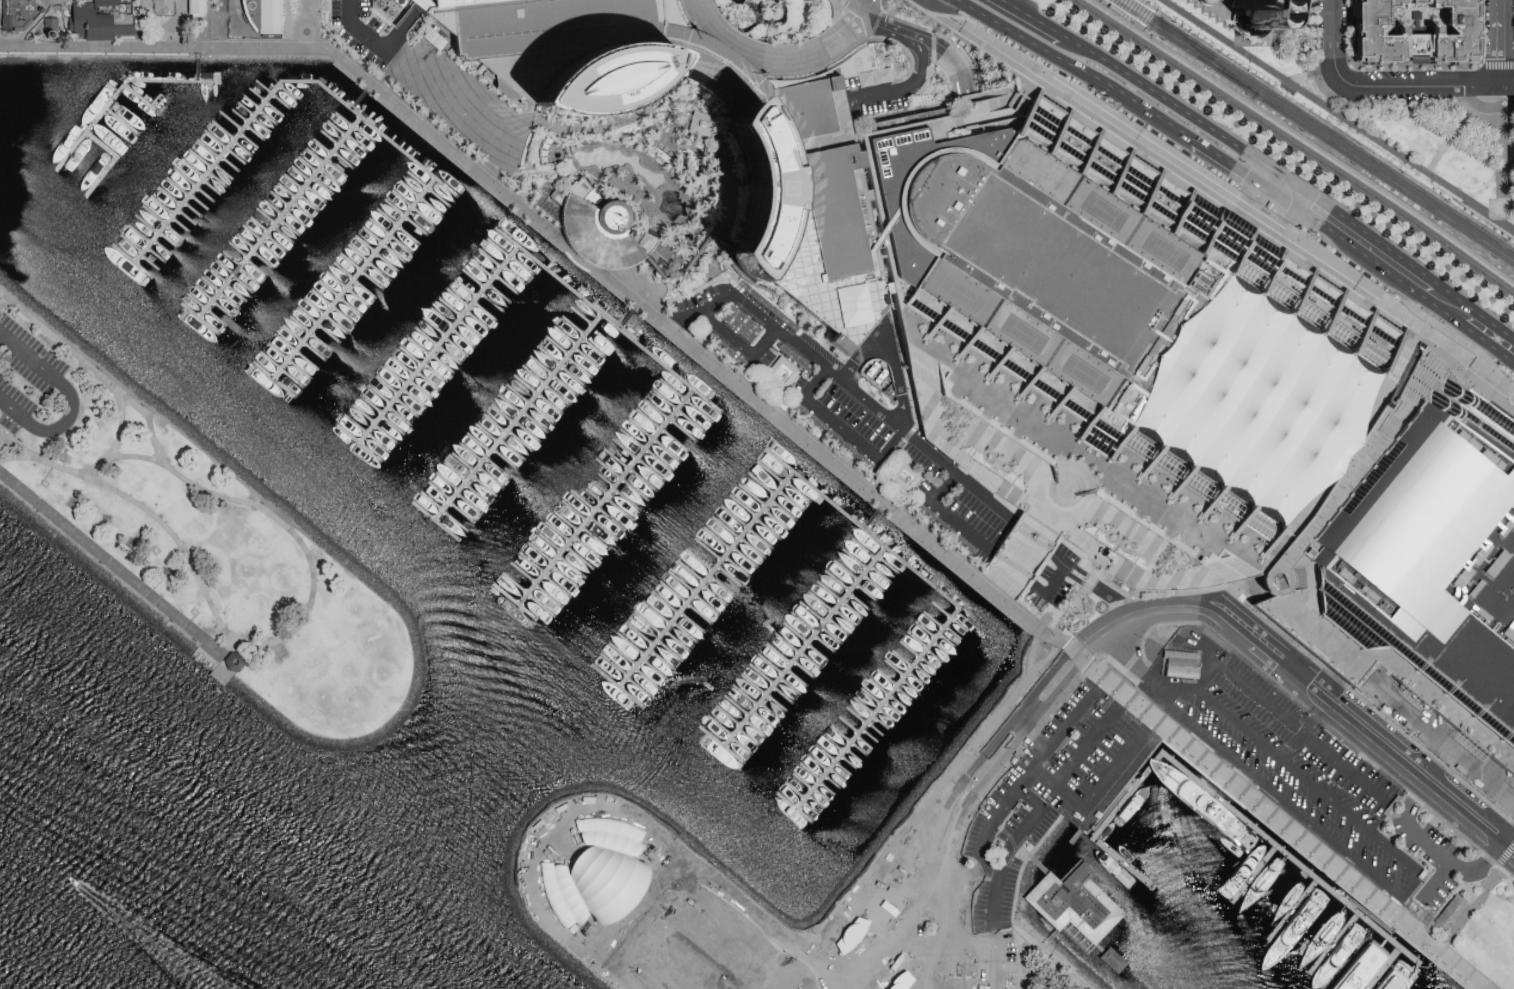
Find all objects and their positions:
road: (857, 1)
road: (859, 1)
road: (1002, 1)
building: (429, 2)
building: (459, 2)
railway: (1146, 4)
road: (65, 5)
building: (161, 7)
building: (198, 8)
road: (940, 9)
road: (1019, 11)
road: (1495, 11)
road: (868, 13)
railway: (1121, 13)
building: (1247, 13)
building: (20, 15)
building: (263, 16)
road: (686, 16)
road: (1216, 20)
building: (105, 22)
road: (41, 23)
road: (209, 24)
road: (313, 24)
road: (932, 26)
road: (360, 27)
road: (401, 27)
building: (51, 28)
road: (67, 28)
road: (888, 28)
road: (1048, 28)
parking lot: (364, 33)
building: (1413, 34)
road: (1017, 37)
road: (961, 40)
road: (179, 43)
road: (1332, 43)
road: (1077, 45)
road: (852, 46)
road: (928, 46)
road: (93, 49)
road: (932, 49)
road: (1496, 55)
road: (778, 56)
railway: (1206, 56)
road: (723, 58)
road: (721, 60)
road: (798, 67)
pier: (197, 71)
road: (1309, 77)
road: (967, 78)
road: (954, 81)
road: (1018, 85)
road: (911, 86)
road: (946, 86)
road: (921, 89)
road: (1416, 89)
road: (1505, 89)
road: (1029, 91)
pier: (120, 94)
road: (1011, 95)
pier: (141, 98)
pier: (359, 100)
road: (1139, 107)
road: (1487, 110)
road: (983, 112)
road: (1182, 112)
road: (649, 116)
road: (1336, 117)
road: (988, 118)
road: (617, 121)
road: (857, 122)
building: (700, 124)
railway: (1320, 126)
road: (655, 127)
park: (1395, 127)
pier: (379, 129)
railway: (1312, 131)
road: (1449, 133)
road: (1301, 139)
road: (666, 140)
railway: (1294, 143)
road: (683, 147)
road: (708, 151)
road: (1438, 155)
pier: (221, 158)
pier: (110, 162)
road: (1501, 165)
road: (1227, 166)
park: (1035, 170)
traffic signals: (1272, 172)
road: (490, 174)
building: (803, 182)
road: (1285, 182)
road: (1262, 185)
traffic signals: (1261, 188)
traffic signals: (1299, 192)
helipad: (769, 193)
road: (1275, 197)
road: (1234, 199)
road: (1294, 199)
road: (872, 202)
traffic signals: (1290, 207)
park: (1095, 212)
road: (1286, 213)
pier: (282, 217)
road: (718, 229)
building: (605, 234)
road: (1367, 239)
road: (1270, 243)
park: (1155, 252)
road: (1364, 257)
road: (690, 259)
pier: (358, 279)
park: (953, 294)
road: (1449, 296)
road: (899, 305)
road: (639, 308)
pier: (610, 318)
road: (1449, 318)
pier: (626, 319)
road: (679, 320)
road: (1489, 324)
road: (1440, 329)
park: (1016, 334)
road: (1412, 340)
pier: (443, 344)
road: (1487, 345)
road: (736, 346)
road: (918, 349)
road: (864, 350)
road: (1423, 352)
road: (1441, 359)
building: (782, 373)
park: (1076, 374)
road: (895, 375)
parking lot: (24, 376)
road: (857, 396)
road: (1512, 401)
road: (69, 403)
road: (1508, 406)
road: (1396, 411)
pier: (523, 417)
road: (1374, 417)
building: (1204, 419)
road: (936, 423)
road: (120, 424)
road: (841, 430)
road: (998, 456)
road: (1335, 457)
road: (118, 458)
road: (20, 460)
road: (1083, 460)
road: (985, 477)
building: (904, 478)
road: (1065, 489)
pier: (610, 498)
road: (1326, 502)
road: (1053, 507)
road: (1166, 509)
road: (1045, 516)
road: (949, 517)
road: (1046, 519)
pier: (869, 520)
road: (1120, 534)
road: (1035, 539)
road: (1032, 540)
park: (192, 541)
pier: (878, 541)
road: (1115, 542)
road: (1273, 550)
road: (1108, 553)
road: (1108, 554)
road: (1107, 555)
road: (1058, 559)
road: (1278, 563)
road: (1099, 564)
road: (1015, 567)
road: (1269, 568)
road: (1096, 569)
road: (116, 570)
road: (1013, 571)
road: (1280, 571)
road: (1082, 573)
road: (1302, 575)
road: (1173, 578)
pier: (711, 579)
road: (1077, 580)
road: (1088, 581)
road: (311, 582)
road: (1050, 590)
road: (1239, 591)
road: (999, 592)
road: (1111, 597)
road: (1120, 602)
road: (1141, 605)
road: (1064, 611)
road: (1143, 623)
road: (214, 637)
pier: (808, 647)
road: (1297, 647)
road: (1031, 651)
road: (1125, 652)
road: (1046, 658)
building: (235, 661)
road: (1398, 664)
building: (1180, 665)
road: (1284, 677)
road: (1271, 708)
pier: (881, 709)
road: (1363, 731)
road: (1299, 736)
road: (1030, 737)
road: (1155, 739)
road: (1358, 746)
road: (987, 749)
road: (1006, 756)
parking lot: (1096, 761)
parking lot: (1291, 766)
road: (1028, 776)
road: (1042, 779)
road: (1111, 796)
road: (1067, 797)
pier: (1217, 798)
road: (1114, 805)
park: (592, 814)
parking lot: (1018, 816)
road: (1271, 818)
road: (1083, 820)
road: (543, 829)
road: (920, 844)
parking lot: (1443, 850)
road: (1436, 852)
road: (675, 858)
road: (1005, 858)
pier: (1037, 866)
building: (595, 872)
building: (1344, 872)
pier: (1254, 874)
road: (968, 876)
road: (1507, 880)
road: (1437, 882)
road: (879, 889)
road: (1391, 891)
road: (961, 893)
road: (734, 894)
building: (1074, 908)
building: (890, 909)
road: (1471, 909)
pier: (1292, 910)
building: (1412, 910)
road: (1012, 913)
road: (1367, 914)
building: (1448, 915)
road: (1423, 916)
road: (918, 920)
building: (1335, 923)
building: (657, 924)
road: (1396, 926)
road: (956, 928)
road: (940, 929)
building: (852, 934)
road: (775, 939)
pier: (1048, 942)
pier: (1334, 943)
road: (973, 945)
road: (599, 957)
road: (615, 961)
road: (811, 962)
road: (1019, 962)
building: (1109, 962)
parking lot: (973, 964)
building: (1367, 964)
pier: (1383, 968)
building: (900, 981)

